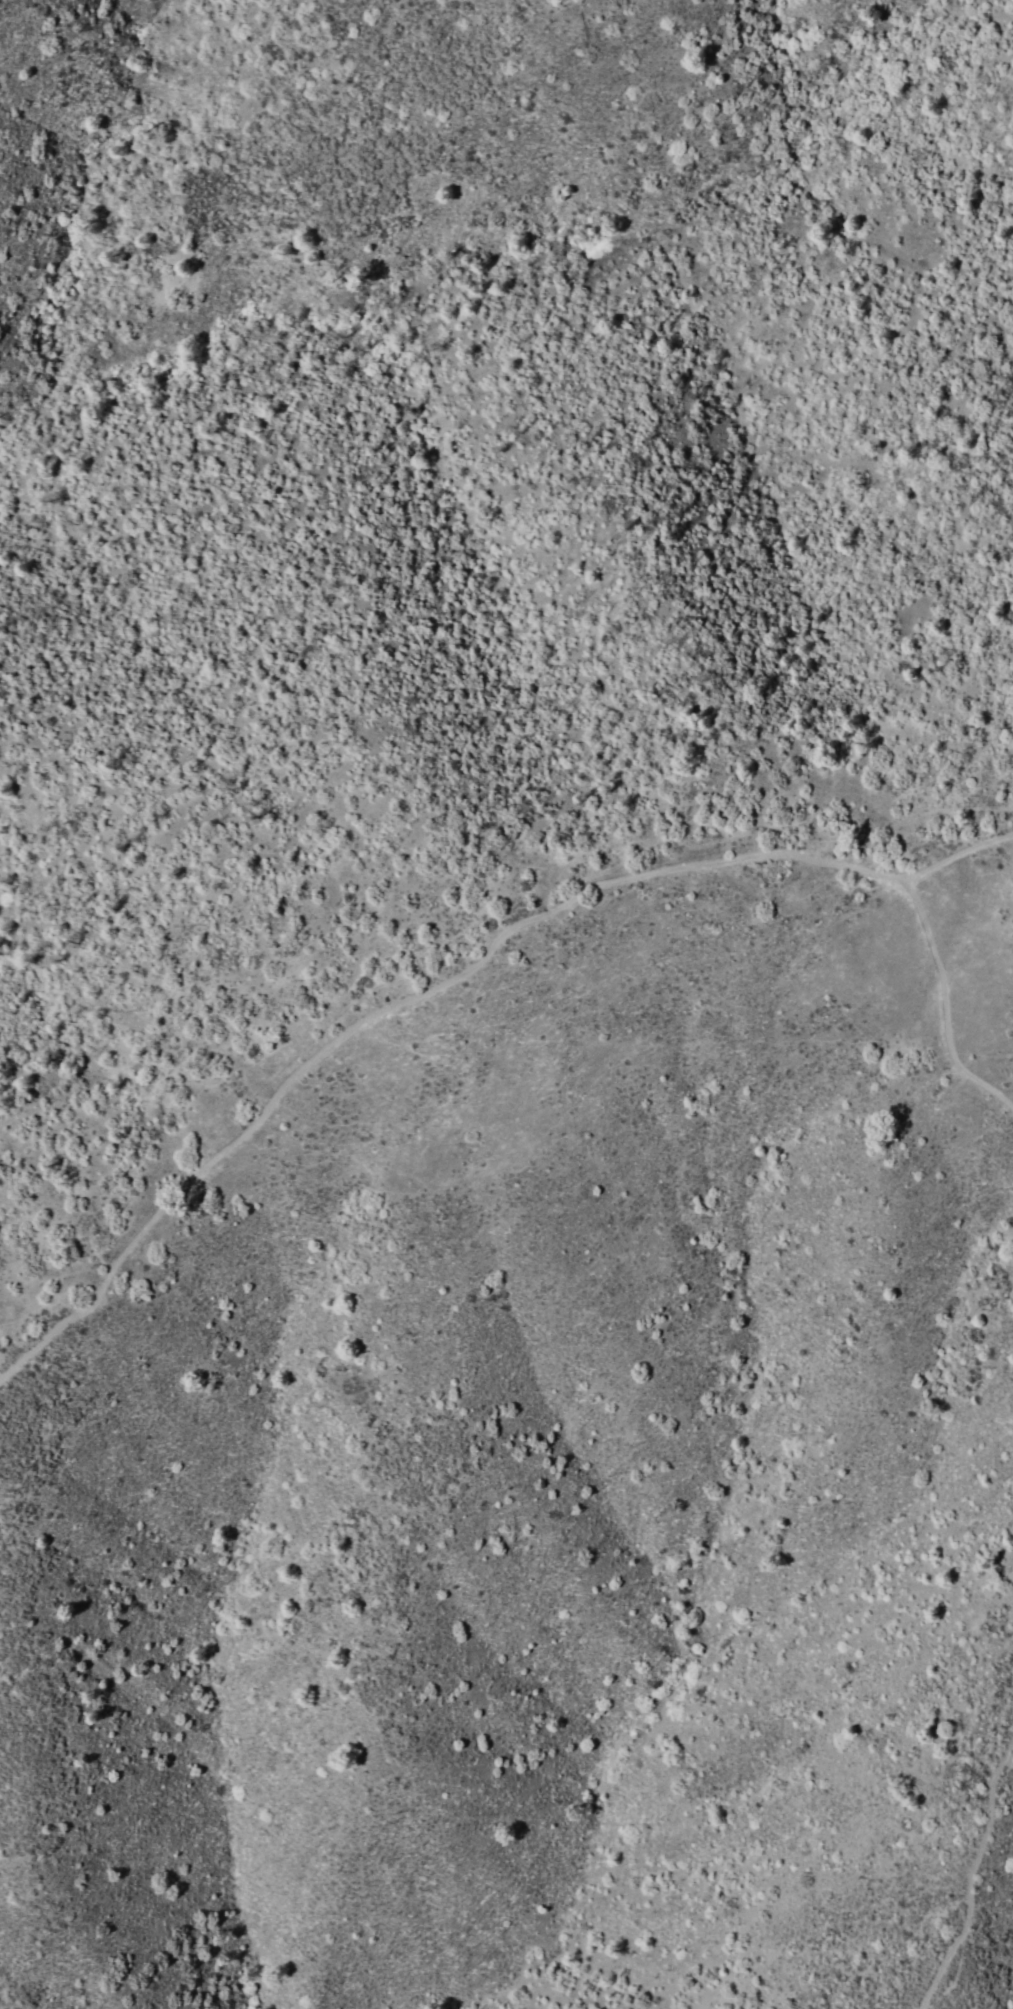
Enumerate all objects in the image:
road: (934, 1000)

